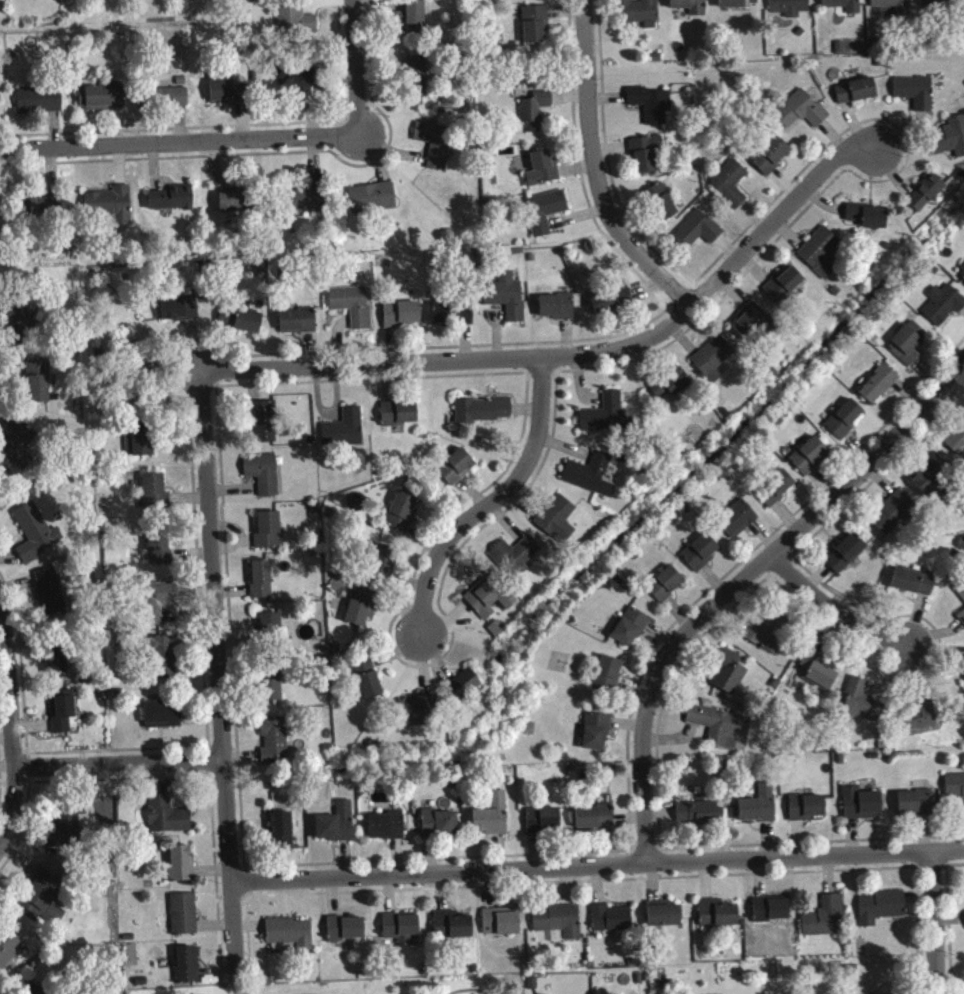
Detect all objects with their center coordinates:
building: (513, 0)
building: (939, 4)
building: (739, 5)
building: (843, 8)
building: (893, 8)
building: (690, 9)
building: (790, 10)
building: (641, 16)
building: (412, 20)
building: (298, 27)
building: (536, 29)
road: (359, 68)
building: (416, 82)
building: (304, 85)
building: (856, 96)
building: (229, 97)
building: (916, 97)
building: (102, 102)
building: (172, 102)
building: (40, 105)
building: (651, 109)
building: (535, 115)
building: (801, 115)
building: (949, 143)
road: (181, 144)
building: (436, 149)
building: (646, 158)
building: (771, 160)
road: (589, 172)
building: (543, 174)
building: (730, 188)
building: (926, 198)
building: (373, 203)
building: (171, 204)
building: (308, 204)
building: (232, 207)
building: (661, 208)
building: (45, 209)
building: (111, 209)
building: (545, 216)
building: (867, 221)
building: (698, 235)
building: (821, 257)
building: (961, 276)
building: (784, 290)
building: (507, 301)
building: (611, 306)
building: (943, 310)
building: (353, 311)
building: (558, 312)
building: (175, 315)
building: (454, 318)
building: (403, 319)
building: (21, 324)
building: (245, 324)
building: (298, 326)
building: (751, 326)
building: (908, 348)
road: (578, 357)
building: (713, 363)
building: (39, 386)
building: (879, 389)
building: (671, 390)
building: (484, 415)
building: (400, 419)
building: (606, 420)
building: (845, 425)
building: (263, 426)
building: (345, 434)
building: (18, 445)
building: (956, 445)
building: (143, 449)
building: (810, 461)
building: (457, 472)
building: (263, 478)
building: (591, 480)
building: (931, 480)
building: (778, 494)
building: (156, 497)
road: (491, 501)
building: (403, 517)
building: (894, 518)
building: (558, 524)
building: (738, 524)
building: (269, 536)
building: (36, 538)
building: (160, 552)
building: (701, 558)
building: (516, 559)
building: (846, 559)
building: (382, 560)
road: (740, 584)
building: (262, 585)
building: (914, 587)
building: (666, 589)
building: (50, 597)
building: (962, 599)
building: (489, 602)
building: (156, 607)
building: (362, 612)
road: (835, 614)
building: (961, 622)
building: (270, 629)
building: (631, 633)
building: (772, 638)
building: (165, 663)
building: (57, 667)
road: (219, 672)
building: (728, 678)
building: (819, 678)
building: (608, 679)
building: (368, 684)
building: (464, 689)
building: (272, 696)
building: (862, 707)
building: (63, 716)
building: (419, 717)
building: (163, 720)
building: (921, 720)
road: (13, 726)
building: (721, 731)
building: (596, 737)
building: (275, 747)
road: (120, 768)
building: (954, 791)
building: (915, 807)
building: (862, 809)
building: (757, 811)
building: (807, 813)
building: (698, 818)
building: (167, 821)
building: (492, 821)
building: (595, 822)
building: (544, 825)
building: (337, 829)
building: (440, 829)
building: (387, 831)
building: (66, 834)
building: (282, 836)
road: (597, 866)
building: (181, 869)
building: (41, 899)
building: (882, 912)
building: (772, 915)
building: (184, 919)
building: (718, 919)
building: (665, 920)
building: (826, 922)
road: (937, 923)
building: (612, 924)
building: (558, 927)
building: (501, 928)
building: (453, 931)
building: (401, 933)
building: (346, 934)
building: (290, 937)
building: (9, 952)
building: (188, 970)
road: (241, 985)
park: (367, 987)
road: (466, 988)
building: (30, 992)
road: (308, 993)

